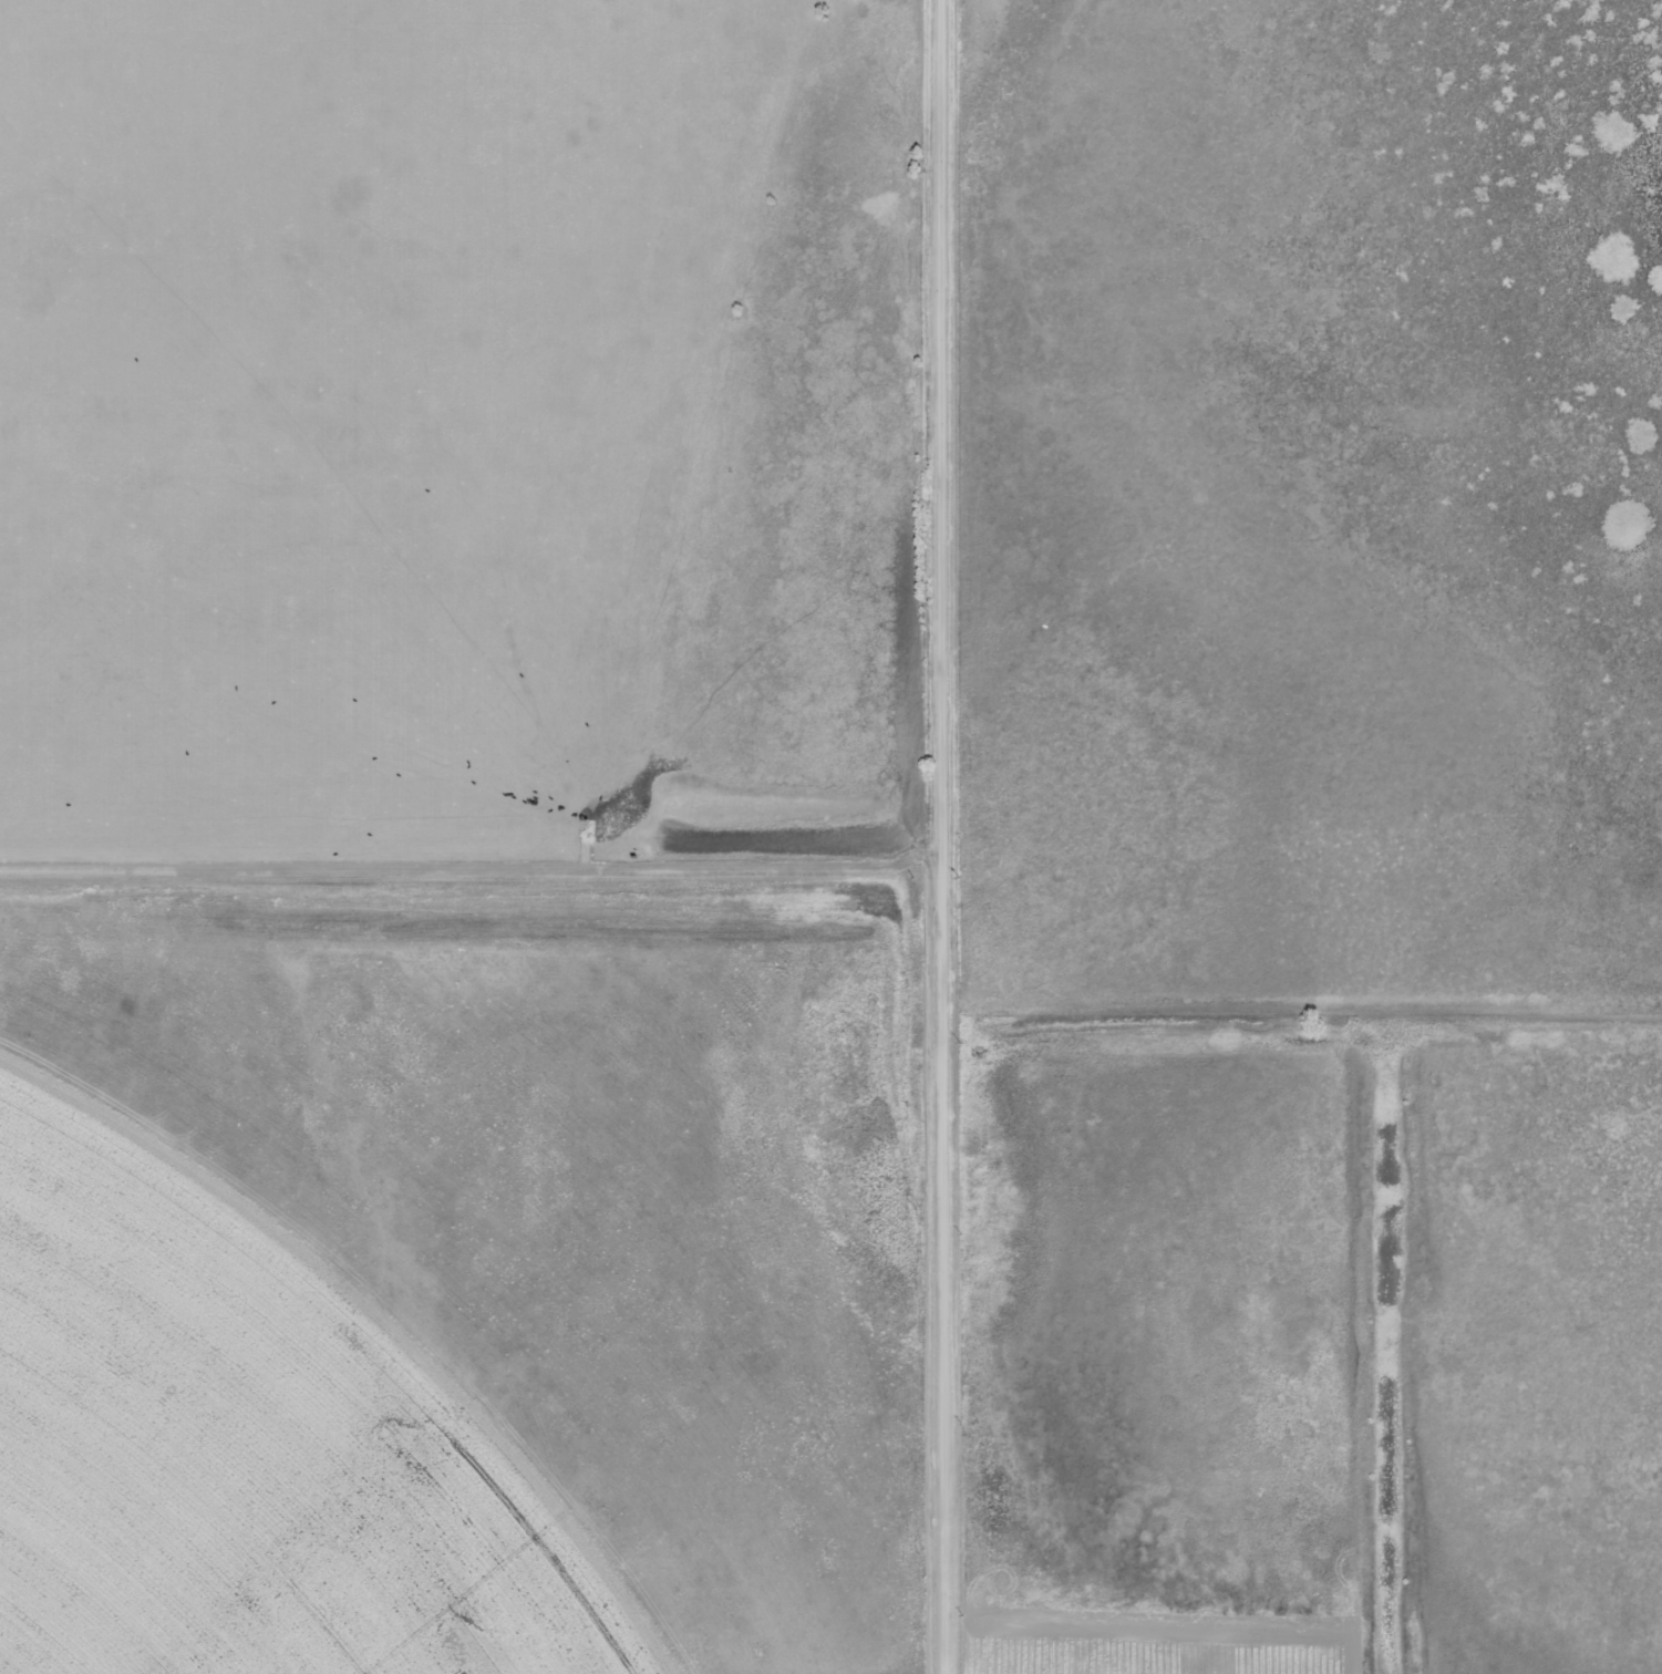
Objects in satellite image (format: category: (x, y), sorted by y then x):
road: (943, 836)
road: (472, 859)

